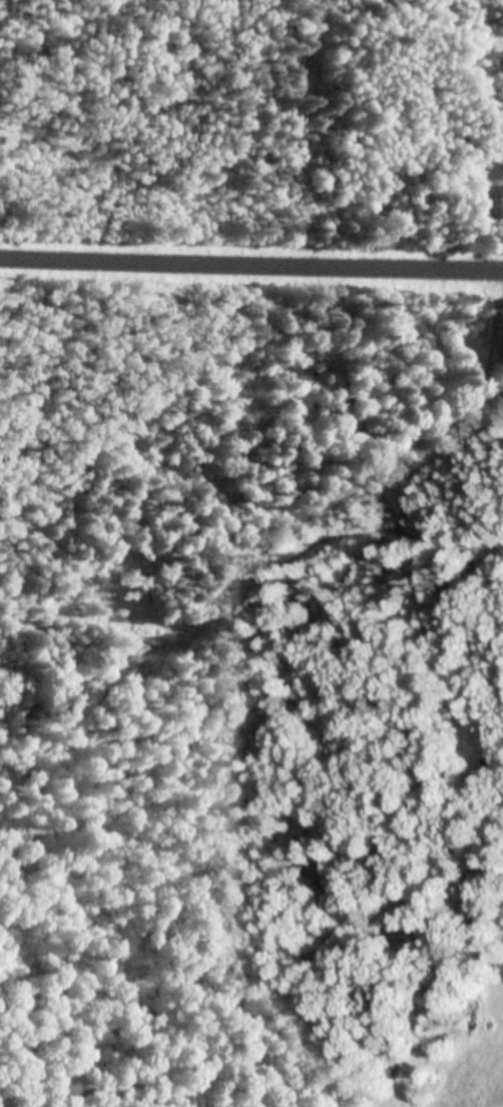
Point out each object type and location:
road: (250, 265)

